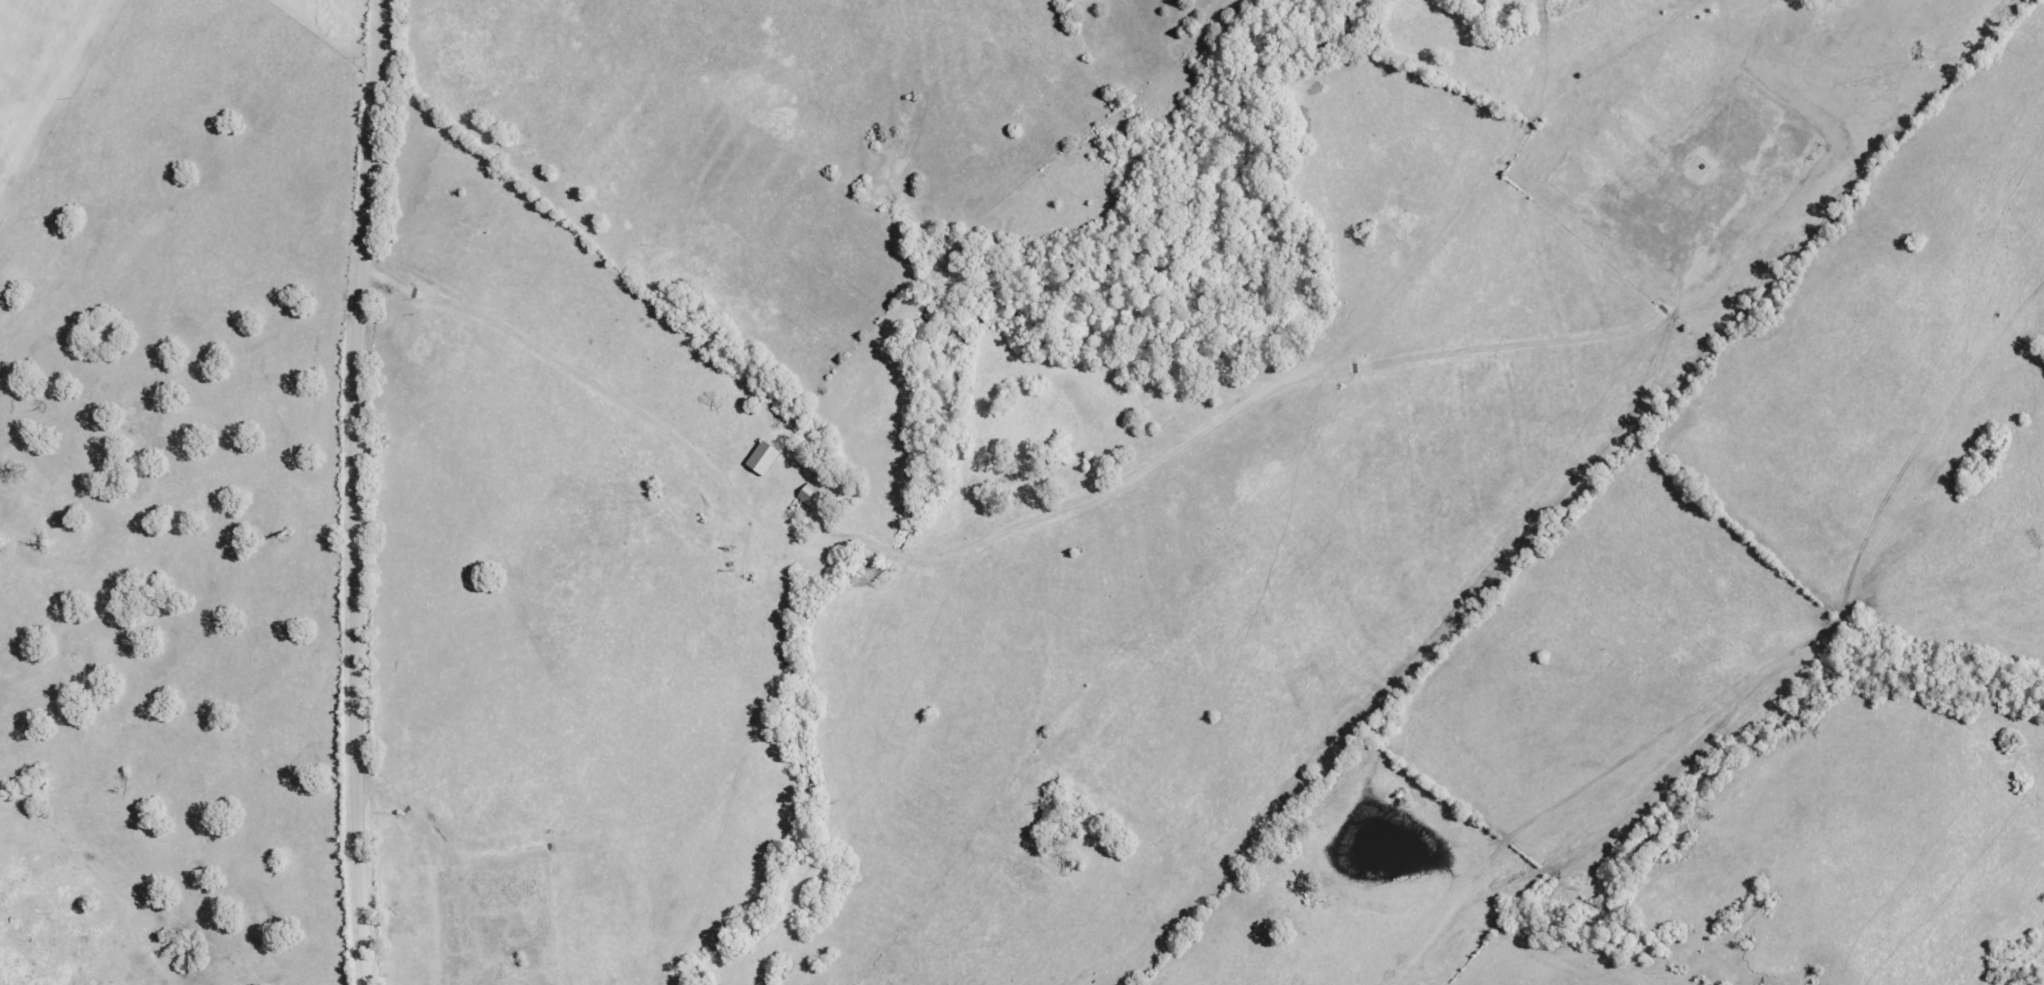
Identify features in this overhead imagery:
building: (767, 459)
road: (359, 492)

